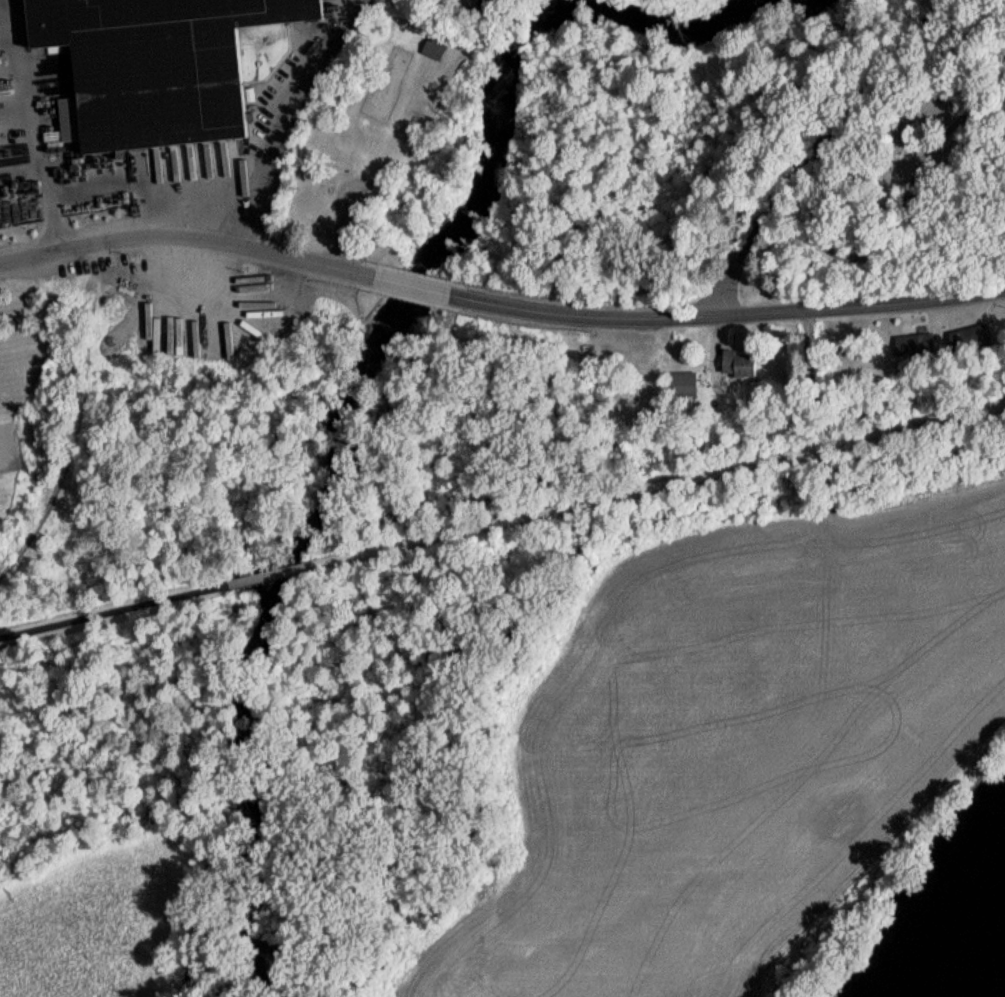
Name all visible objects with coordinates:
building: (430, 55)
building: (158, 60)
road: (24, 122)
park: (386, 141)
road: (819, 142)
building: (891, 156)
park: (874, 167)
road: (220, 186)
road: (901, 207)
road: (193, 217)
road: (180, 237)
road: (410, 286)
building: (195, 303)
road: (732, 317)
building: (1004, 328)
building: (965, 346)
building: (910, 350)
river: (363, 369)
building: (734, 370)
building: (628, 399)
road: (912, 424)
railway: (72, 428)
road: (563, 504)
road: (261, 575)
road: (107, 610)
river: (970, 943)

